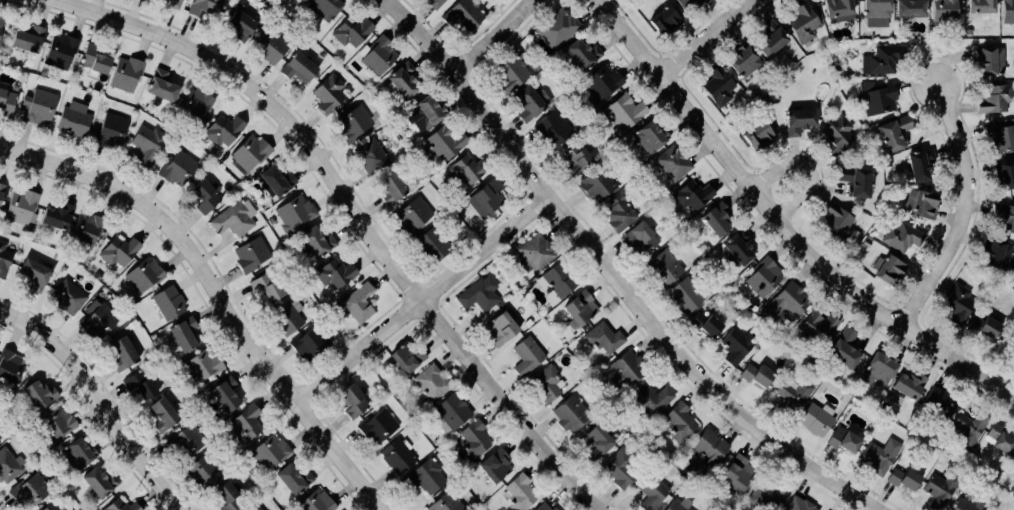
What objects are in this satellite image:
building: (302, 0)
building: (299, 1)
building: (688, 2)
building: (170, 3)
building: (432, 3)
building: (979, 6)
building: (202, 7)
building: (322, 7)
building: (835, 8)
building: (874, 8)
building: (908, 9)
building: (941, 11)
building: (1007, 12)
building: (461, 15)
building: (661, 20)
building: (1, 22)
building: (801, 22)
building: (237, 25)
building: (556, 28)
building: (350, 32)
building: (966, 32)
road: (705, 37)
road: (491, 38)
building: (25, 40)
building: (768, 40)
building: (267, 47)
building: (59, 51)
building: (580, 54)
building: (321, 55)
building: (377, 56)
building: (92, 59)
building: (881, 60)
building: (987, 60)
building: (741, 62)
building: (533, 64)
building: (295, 68)
building: (507, 72)
building: (124, 74)
building: (401, 80)
building: (601, 83)
building: (159, 86)
building: (716, 86)
building: (327, 94)
building: (876, 98)
building: (993, 98)
building: (6, 103)
building: (195, 103)
building: (524, 104)
building: (37, 106)
building: (426, 112)
building: (620, 114)
building: (72, 119)
building: (797, 121)
building: (351, 124)
building: (550, 128)
building: (108, 130)
building: (221, 130)
building: (890, 132)
building: (754, 135)
building: (834, 136)
building: (1003, 136)
building: (648, 137)
building: (445, 141)
building: (147, 144)
building: (249, 152)
building: (369, 156)
building: (574, 156)
building: (671, 163)
building: (918, 164)
road: (807, 166)
building: (176, 168)
building: (463, 171)
building: (1005, 175)
building: (274, 181)
building: (852, 182)
building: (594, 185)
building: (388, 188)
building: (1, 189)
building: (690, 196)
building: (202, 197)
building: (483, 197)
building: (461, 204)
building: (918, 205)
building: (19, 208)
road: (963, 211)
building: (292, 212)
building: (617, 214)
road: (355, 215)
building: (410, 215)
building: (54, 216)
building: (1003, 218)
building: (231, 219)
building: (714, 219)
building: (833, 222)
road: (780, 225)
building: (84, 230)
building: (635, 236)
building: (899, 237)
building: (314, 242)
building: (430, 246)
building: (736, 248)
building: (117, 251)
building: (533, 253)
building: (249, 255)
building: (996, 256)
building: (3, 259)
building: (662, 268)
building: (885, 269)
building: (331, 274)
building: (31, 275)
building: (142, 275)
road: (610, 275)
building: (762, 277)
building: (557, 280)
building: (264, 288)
road: (216, 294)
building: (477, 294)
building: (683, 295)
building: (67, 298)
road: (420, 298)
building: (355, 302)
building: (787, 302)
building: (167, 303)
building: (956, 304)
building: (578, 309)
building: (284, 318)
building: (96, 320)
building: (705, 322)
building: (817, 327)
building: (984, 328)
building: (498, 329)
building: (181, 334)
building: (601, 338)
building: (308, 344)
building: (735, 345)
building: (842, 349)
building: (121, 353)
building: (525, 355)
building: (404, 359)
building: (202, 364)
building: (9, 366)
building: (625, 369)
building: (876, 369)
building: (755, 375)
building: (429, 382)
building: (138, 385)
building: (543, 385)
building: (906, 386)
building: (222, 394)
building: (36, 395)
building: (650, 398)
building: (791, 398)
road: (97, 402)
building: (351, 402)
building: (938, 402)
building: (450, 411)
building: (568, 413)
building: (160, 415)
building: (813, 420)
building: (55, 422)
building: (677, 422)
building: (242, 425)
building: (375, 426)
building: (968, 429)
building: (997, 439)
building: (472, 440)
building: (595, 441)
building: (841, 441)
building: (184, 443)
building: (706, 447)
building: (268, 452)
building: (77, 453)
building: (396, 456)
building: (879, 456)
building: (1012, 463)
building: (493, 465)
building: (8, 466)
building: (621, 467)
building: (735, 472)
building: (202, 473)
building: (424, 476)
building: (902, 479)
building: (290, 480)
building: (97, 483)
building: (652, 489)
building: (937, 490)
building: (26, 491)
building: (519, 493)
building: (765, 494)
building: (226, 498)
building: (313, 502)
building: (444, 502)
building: (797, 504)
building: (52, 505)
building: (677, 505)
building: (964, 505)
building: (118, 506)
building: (543, 507)
building: (257, 508)

